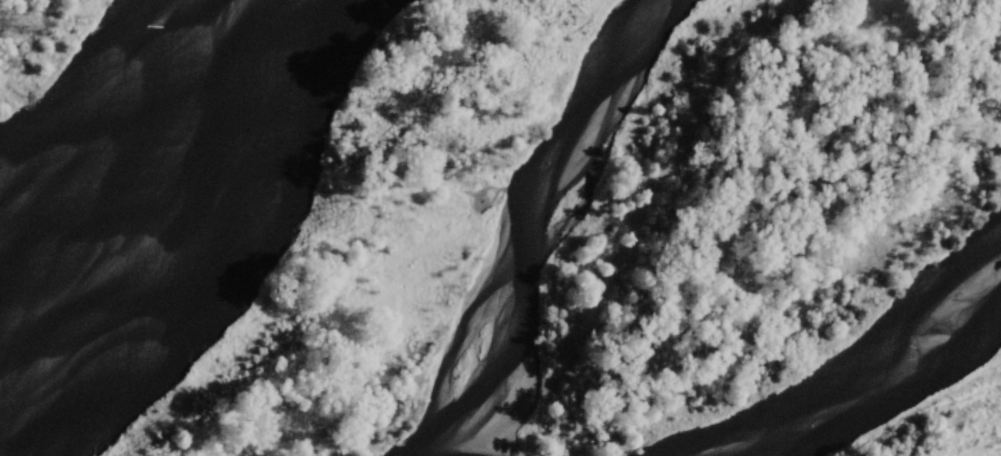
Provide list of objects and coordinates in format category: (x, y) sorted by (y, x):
river: (135, 187)

